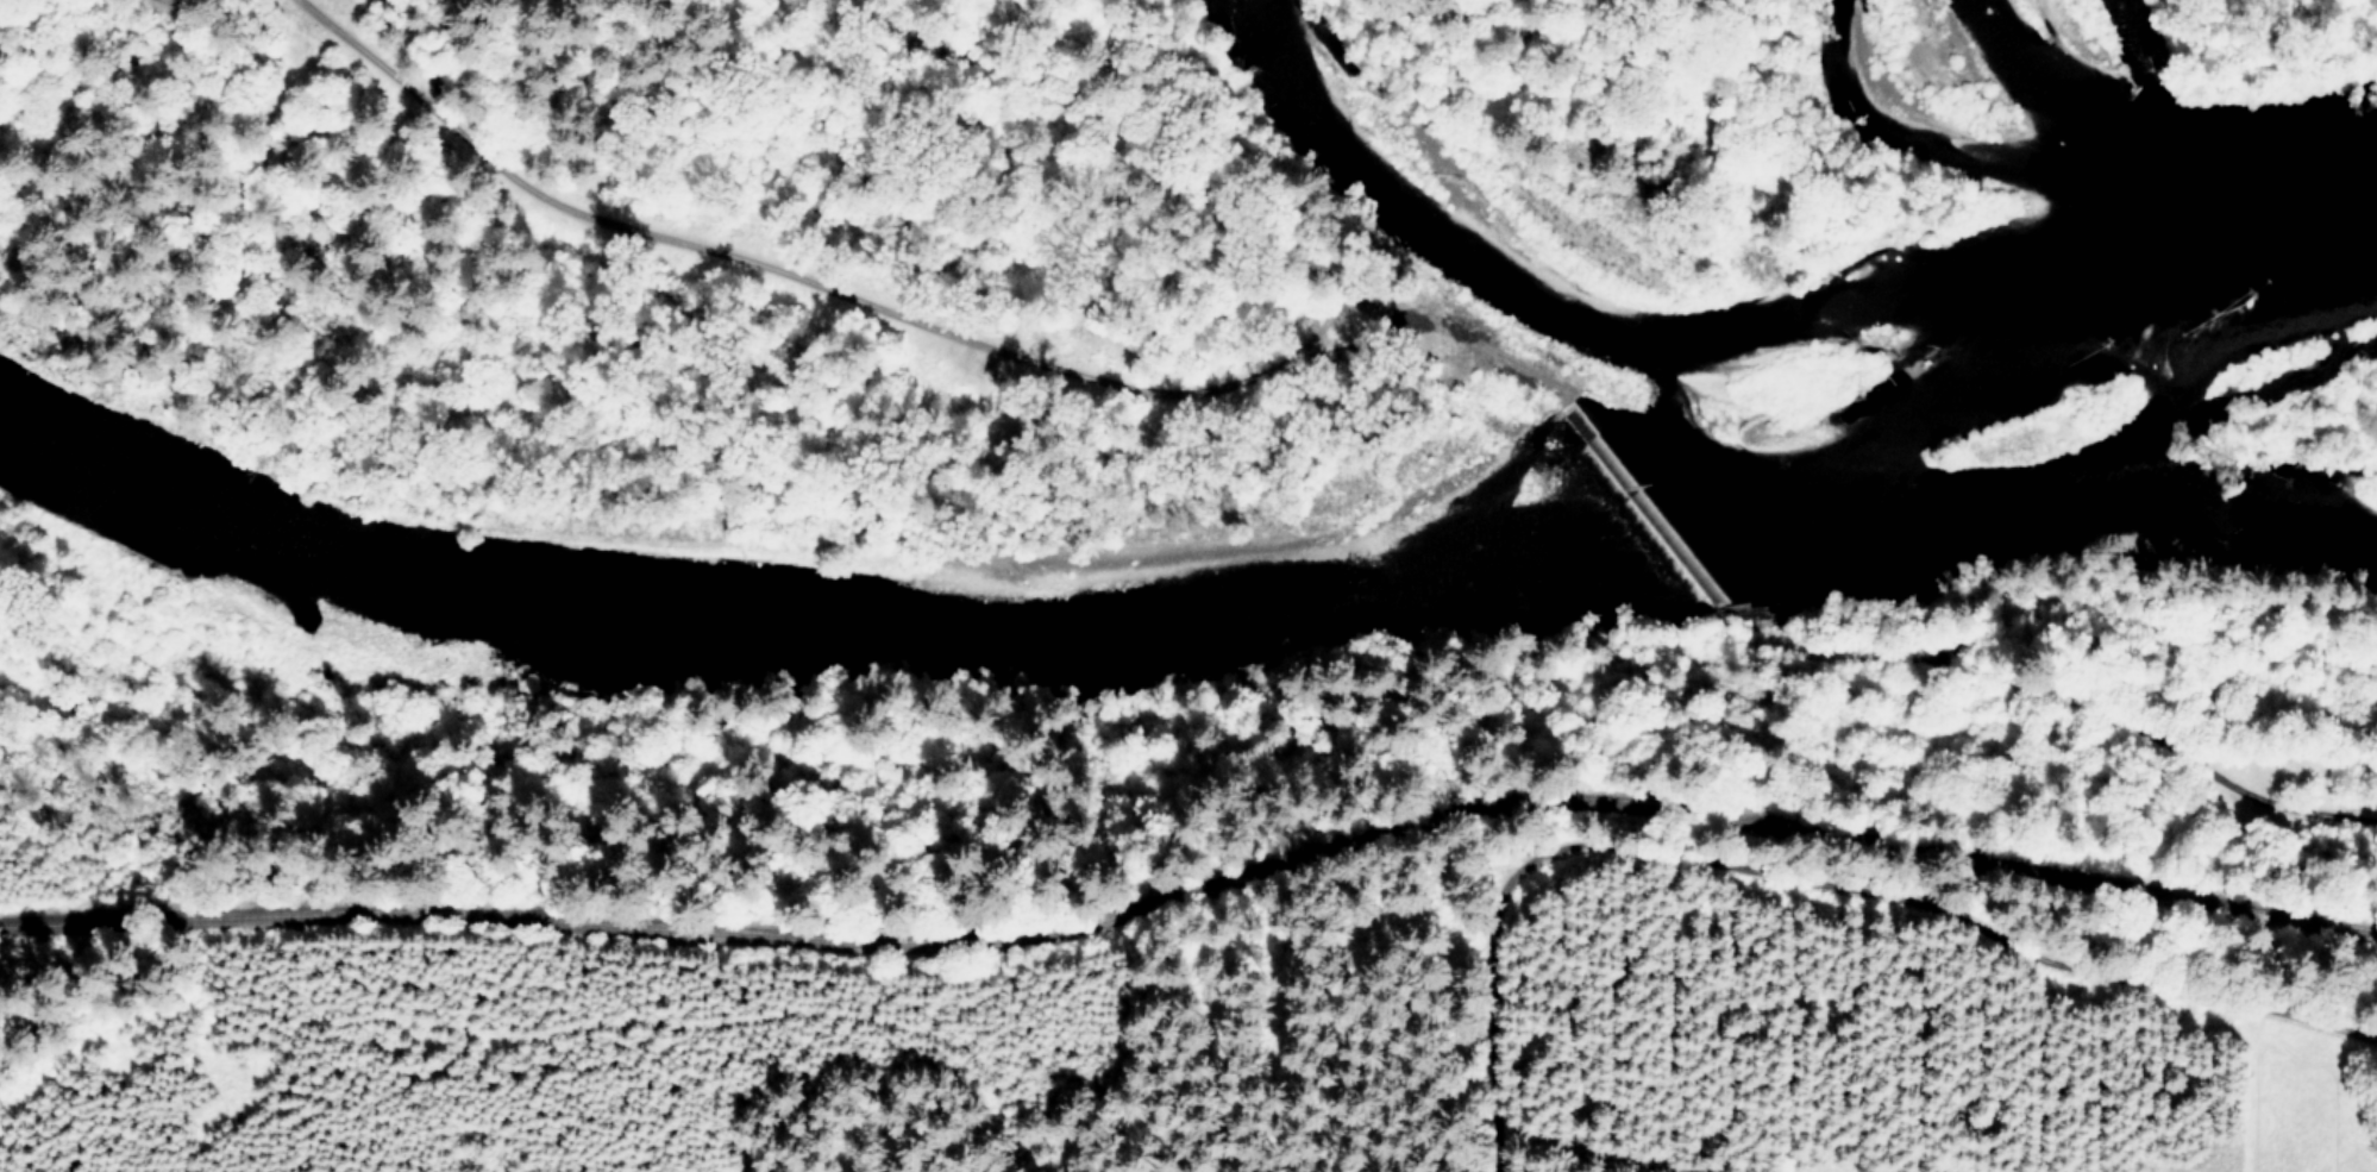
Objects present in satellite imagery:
road: (780, 269)
road: (1379, 315)
road: (1465, 338)
dam: (1641, 513)
river: (1213, 620)
road: (2066, 697)
road: (1806, 877)
railway: (1196, 882)

